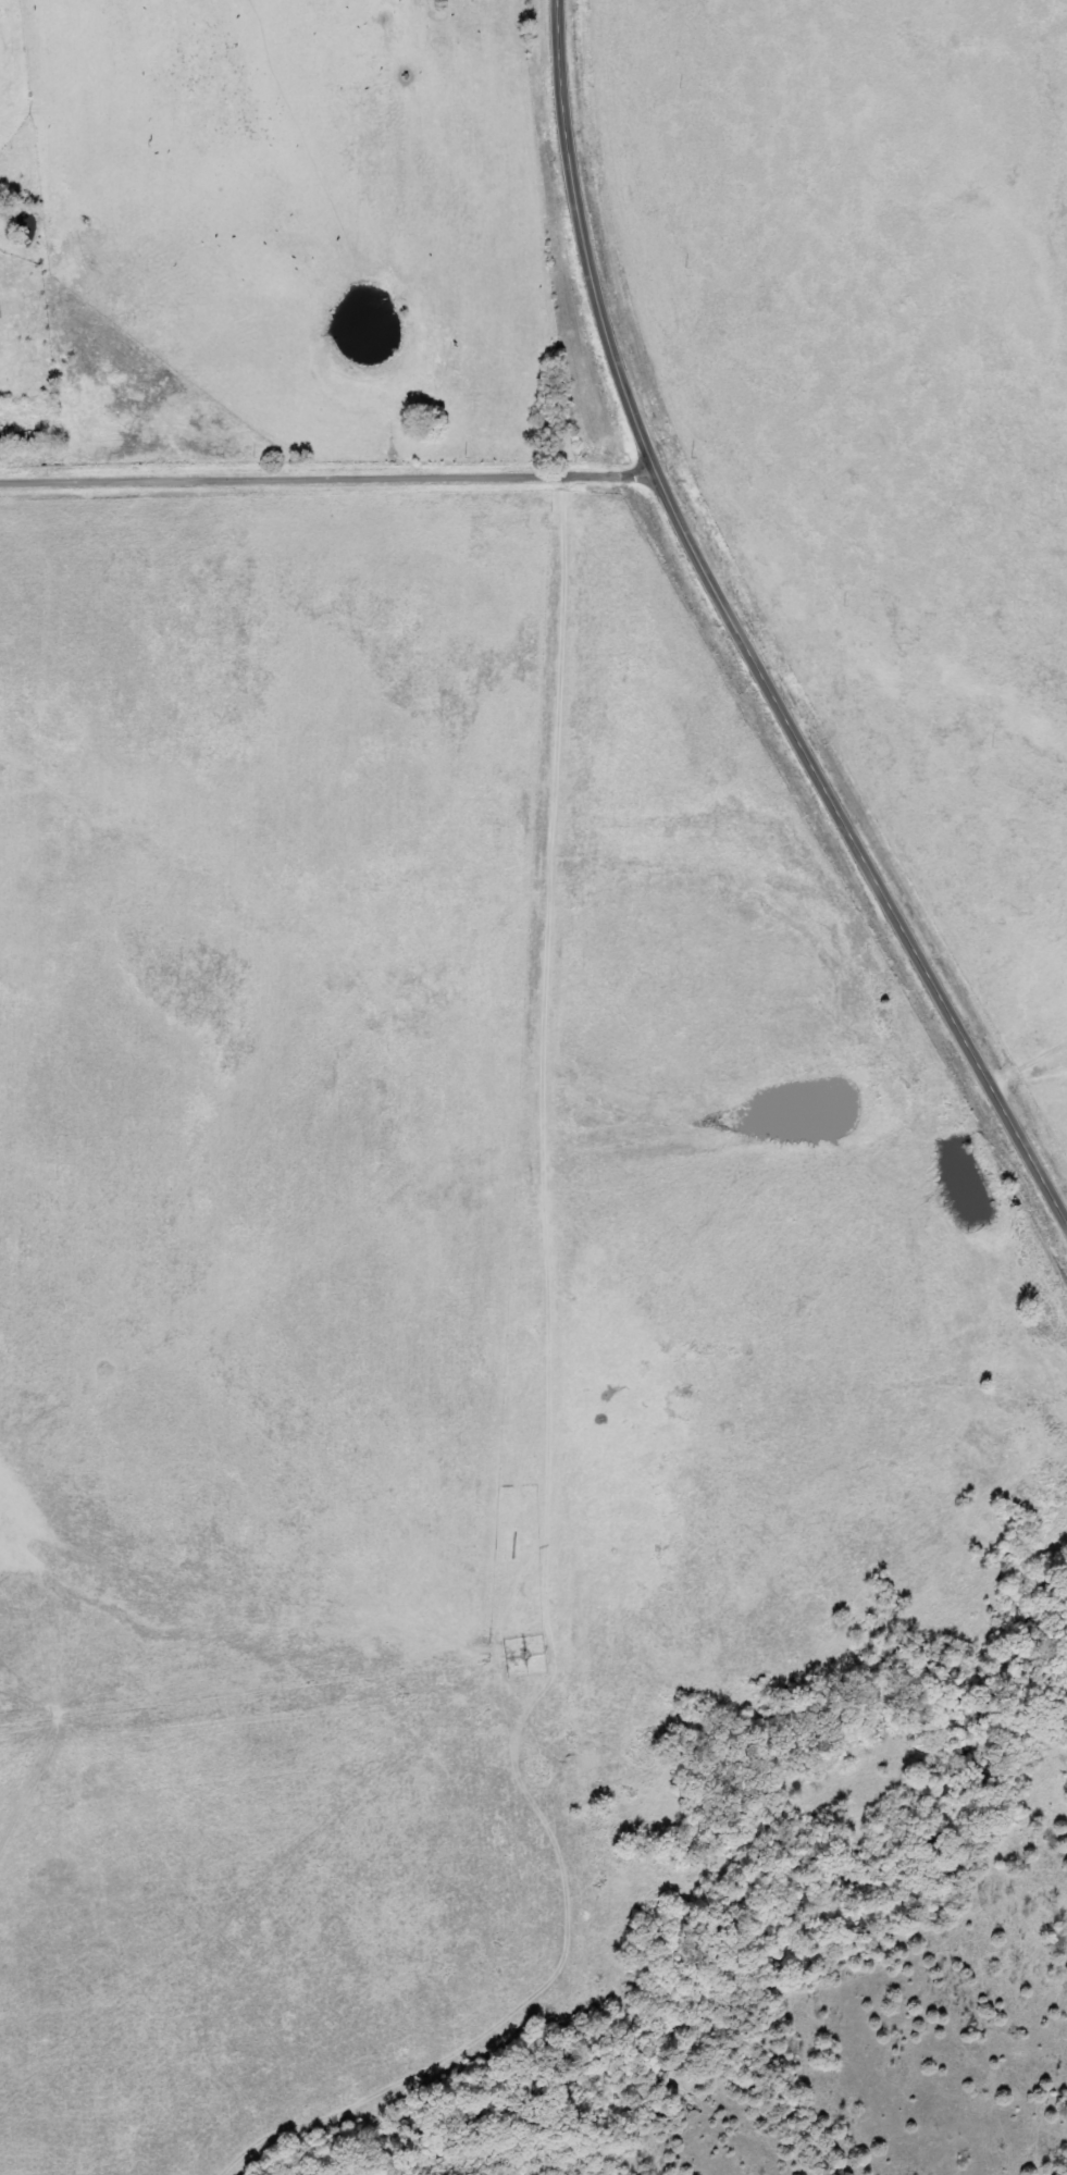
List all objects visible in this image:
road: (327, 482)
road: (742, 637)

